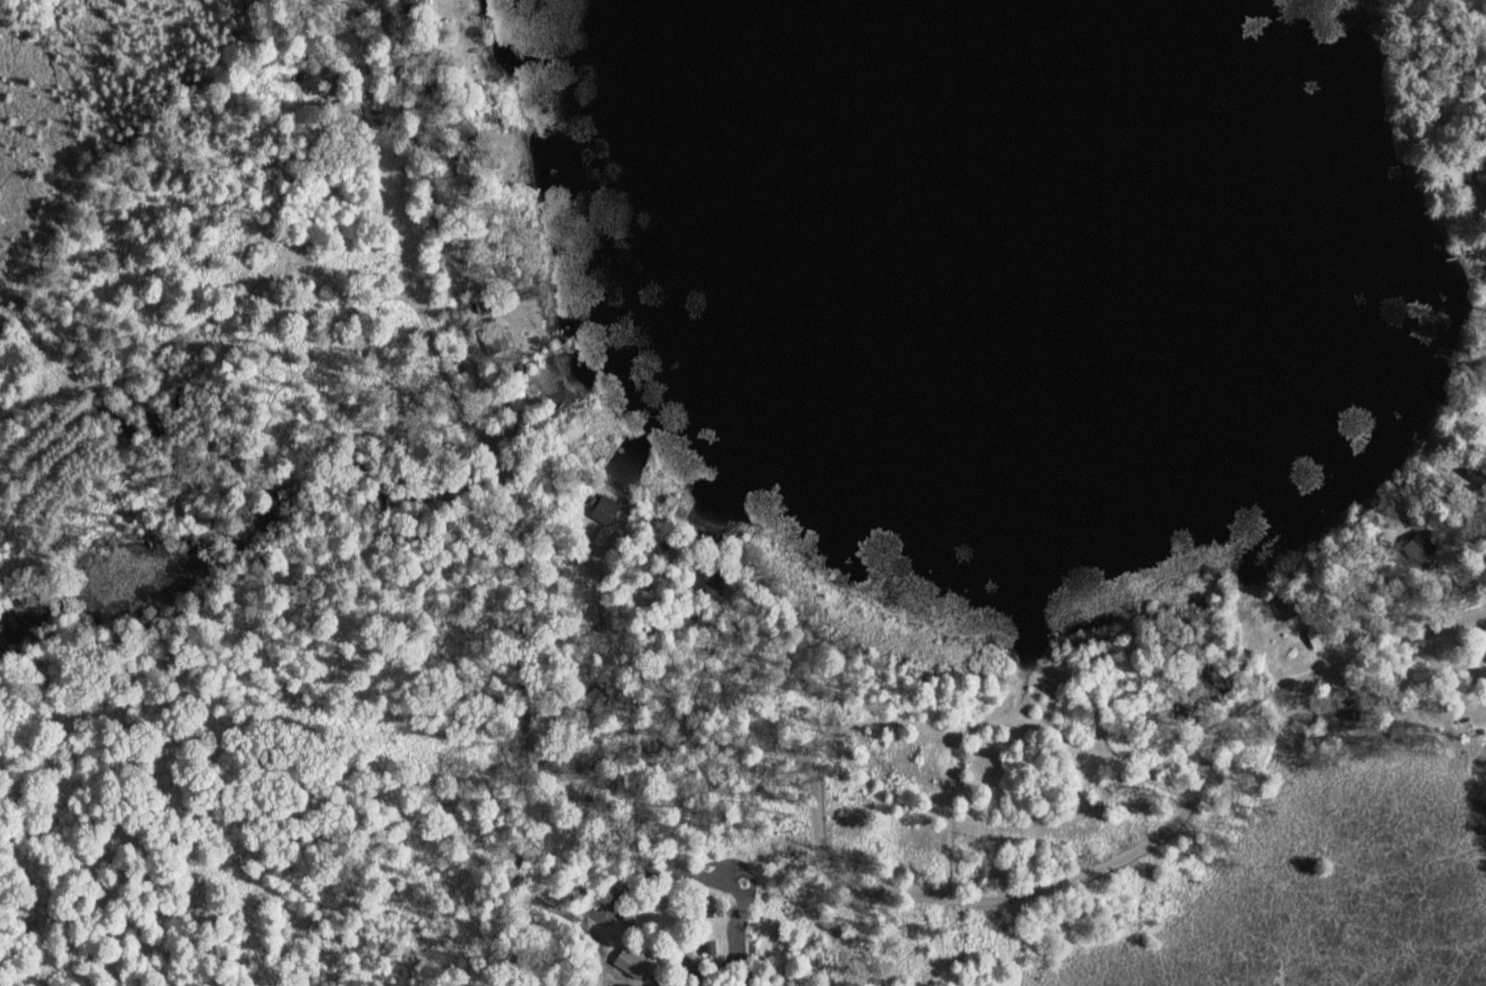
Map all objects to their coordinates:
building: (414, 8)
building: (347, 112)
building: (471, 171)
building: (1481, 182)
road: (222, 306)
building: (495, 340)
road: (477, 383)
building: (518, 398)
building: (1419, 547)
building: (713, 581)
building: (1287, 608)
building: (1317, 635)
road: (1028, 664)
road: (1067, 674)
building: (1344, 716)
road: (1007, 720)
road: (1194, 741)
road: (668, 743)
road: (1136, 852)
road: (519, 880)
road: (565, 914)
building: (629, 917)
building: (711, 945)
building: (631, 961)

